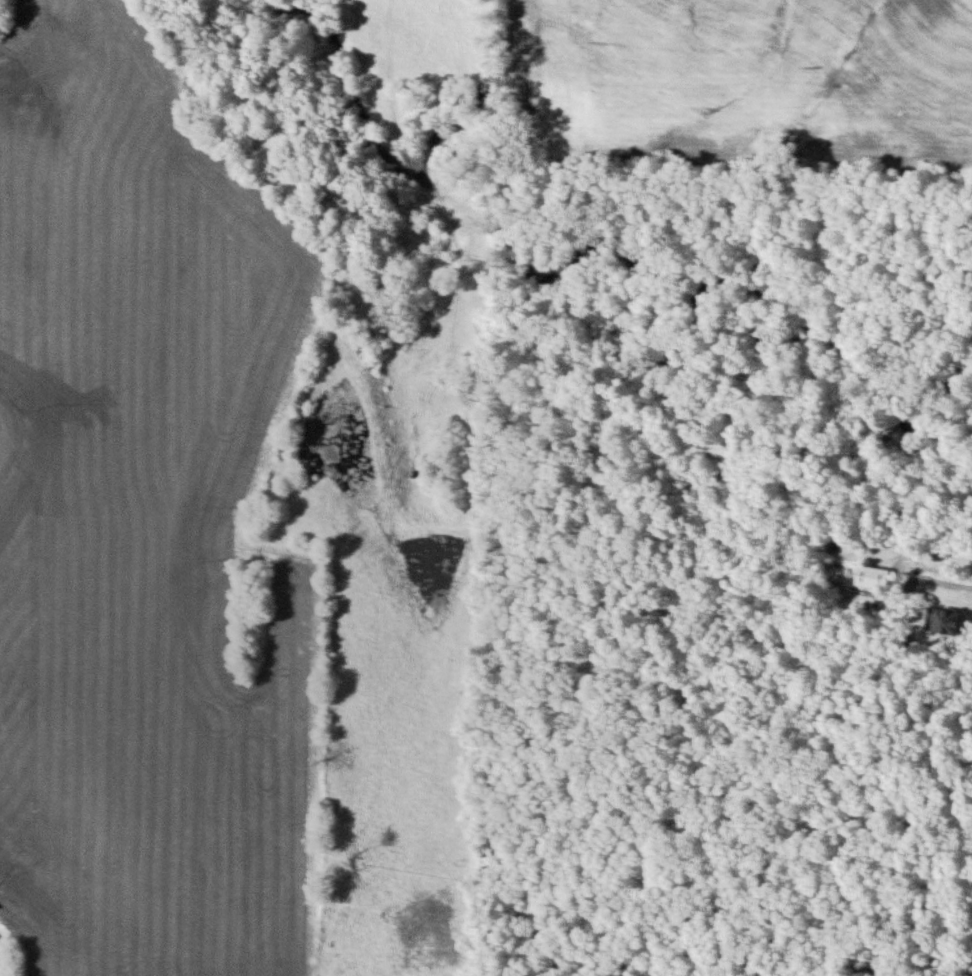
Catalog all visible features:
building: (874, 576)
building: (950, 621)

